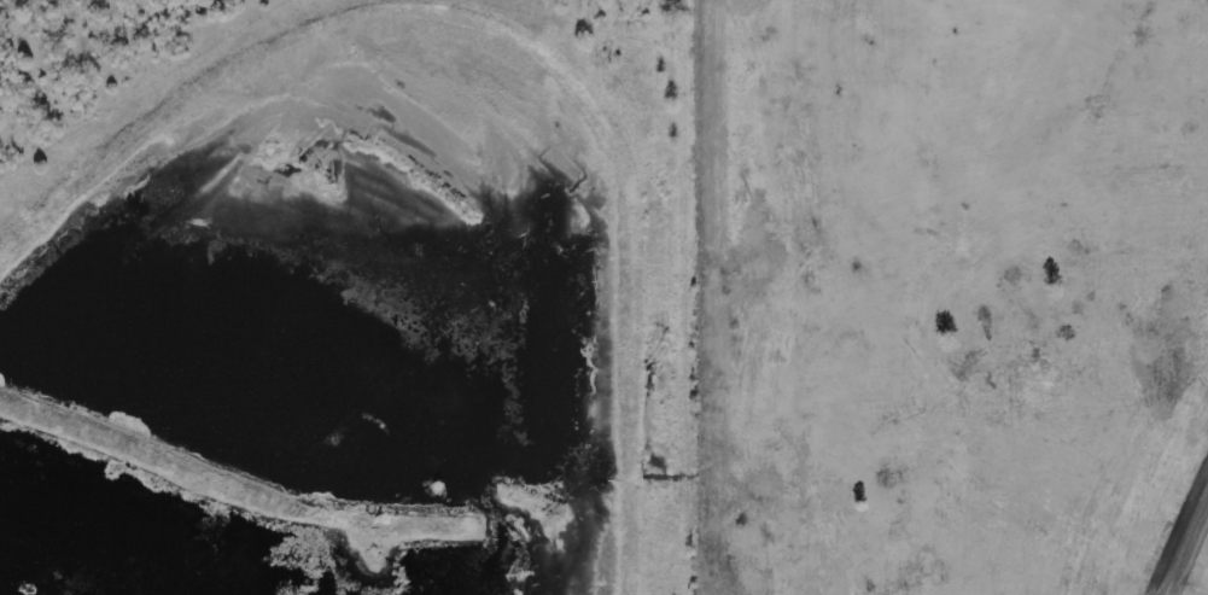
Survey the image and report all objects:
road: (705, 297)

